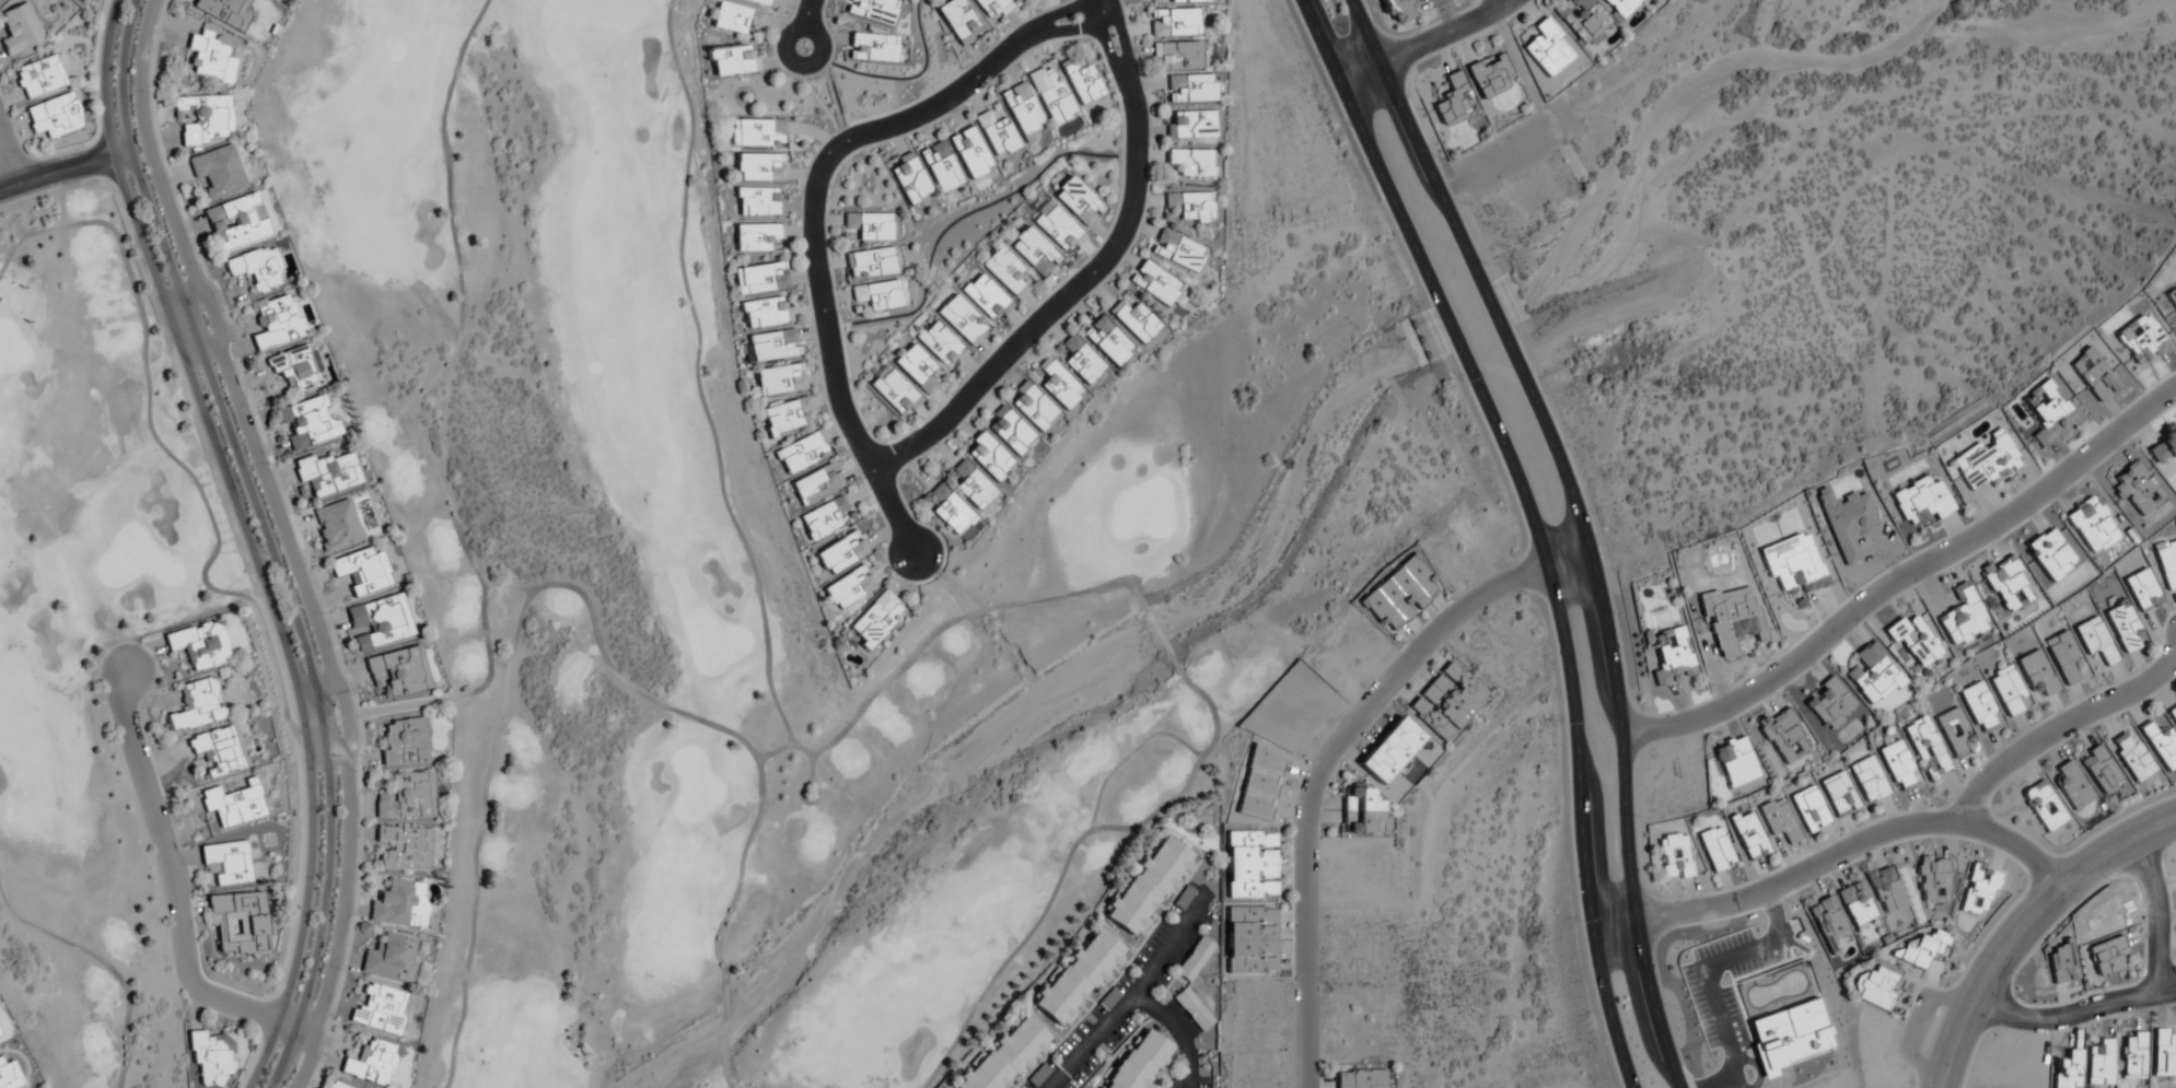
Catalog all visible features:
building: (1186, 1)
road: (1503, 1)
building: (759, 2)
building: (992, 7)
building: (1620, 7)
building: (1397, 10)
building: (870, 11)
building: (223, 12)
street lamp: (1372, 17)
building: (735, 19)
building: (1582, 20)
building: (958, 21)
building: (1173, 23)
road: (804, 25)
building: (20, 30)
road: (1423, 42)
building: (871, 48)
building: (1547, 49)
building: (1177, 56)
building: (209, 60)
building: (732, 62)
building: (1489, 75)
building: (38, 78)
street lamp: (807, 80)
building: (1082, 84)
building: (1190, 89)
street lamp: (148, 94)
building: (1050, 95)
building: (1453, 101)
street lamp: (1329, 105)
building: (1021, 109)
building: (55, 116)
building: (203, 118)
building: (1190, 125)
building: (756, 133)
building: (996, 134)
street lamp: (81, 147)
road: (148, 152)
building: (969, 154)
road: (9, 156)
building: (1191, 162)
building: (940, 166)
building: (759, 167)
road: (63, 169)
building: (218, 171)
building: (908, 178)
building: (759, 201)
building: (1079, 201)
building: (1189, 206)
road: (816, 211)
building: (236, 223)
building: (869, 225)
building: (1057, 226)
building: (755, 237)
building: (1034, 250)
building: (1176, 250)
building: (872, 262)
street lamp: (1485, 264)
street lamp: (198, 265)
building: (256, 269)
building: (1004, 270)
road: (1095, 271)
building: (760, 279)
building: (1154, 283)
building: (877, 295)
building: (986, 296)
building: (2172, 300)
building: (766, 313)
road: (213, 319)
building: (962, 319)
building: (1134, 321)
building: (276, 323)
building: (2141, 340)
building: (1107, 341)
building: (939, 343)
building: (770, 346)
building: (1080, 360)
building: (295, 368)
building: (916, 368)
building: (2093, 374)
building: (781, 379)
street lamp: (1462, 382)
building: (1057, 385)
building: (894, 391)
building: (2049, 411)
building: (786, 417)
building: (307, 423)
building: (1009, 433)
street lamp: (1567, 445)
building: (2164, 445)
building: (802, 453)
building: (987, 458)
building: (1985, 461)
street lamp: (268, 466)
building: (328, 473)
building: (817, 484)
building: (971, 487)
building: (2137, 489)
building: (1921, 502)
building: (949, 511)
road: (278, 514)
building: (824, 518)
building: (1847, 522)
road: (1533, 524)
building: (336, 525)
road: (1581, 525)
building: (2092, 525)
road: (246, 541)
road: (266, 541)
building: (840, 553)
building: (2049, 554)
building: (2166, 562)
building: (361, 572)
road: (1906, 584)
building: (2006, 584)
road: (514, 588)
park: (734, 588)
building: (848, 588)
building: (2141, 589)
road: (591, 609)
street lamp: (321, 613)
street lamp: (1617, 615)
building: (1731, 618)
building: (1963, 618)
building: (875, 620)
building: (379, 622)
building: (2123, 628)
park: (90, 637)
building: (1913, 641)
building: (2095, 641)
building: (198, 645)
building: (1673, 656)
building: (2063, 657)
road: (908, 660)
building: (398, 671)
building: (2036, 672)
building: (1873, 674)
building: (2006, 690)
building: (1446, 701)
road: (406, 704)
building: (1829, 704)
building: (197, 705)
building: (1978, 707)
building: (2172, 714)
road: (349, 720)
street lamp: (1562, 724)
building: (1955, 733)
road: (2061, 734)
building: (1783, 735)
building: (404, 741)
building: (2160, 745)
street lamp: (149, 747)
building: (1925, 747)
building: (1389, 750)
building: (217, 751)
road: (773, 751)
road: (1329, 756)
building: (2131, 757)
building: (1735, 762)
road: (810, 767)
building: (1897, 767)
building: (2101, 770)
street lamp: (354, 772)
building: (1867, 780)
building: (2073, 786)
building: (1838, 794)
building: (407, 797)
road: (808, 802)
building: (233, 805)
building: (2044, 806)
building: (1808, 809)
building: (1361, 811)
road: (1150, 816)
street lamp: (1637, 817)
building: (1779, 820)
building: (1747, 834)
building: (404, 849)
building: (1715, 850)
building: (1673, 856)
building: (226, 863)
road: (1835, 863)
building: (1248, 865)
building: (1932, 879)
building: (1147, 887)
building: (1884, 889)
road: (175, 891)
building: (1977, 891)
building: (1855, 903)
building: (399, 905)
building: (238, 923)
street lamp: (1578, 923)
building: (1828, 924)
road: (344, 926)
road: (2028, 928)
building: (1249, 940)
building: (1923, 949)
road: (1171, 950)
building: (2105, 957)
building: (391, 959)
building: (2060, 961)
road: (108, 964)
street lamp: (340, 971)
building: (1077, 979)
building: (1874, 988)
street lamp: (253, 995)
road: (2143, 996)
road: (1136, 997)
street lamp: (1666, 1007)
building: (380, 1009)
building: (1192, 1010)
road: (1920, 1029)
building: (2164, 1053)
building: (1005, 1056)
building: (2133, 1056)
building: (210, 1058)
building: (1139, 1062)
building: (370, 1064)
building: (2101, 1064)
building: (2068, 1071)
building: (8, 1073)
building: (1038, 1076)
building: (1360, 1078)
building: (335, 1086)
street lamp: (1912, 1086)

